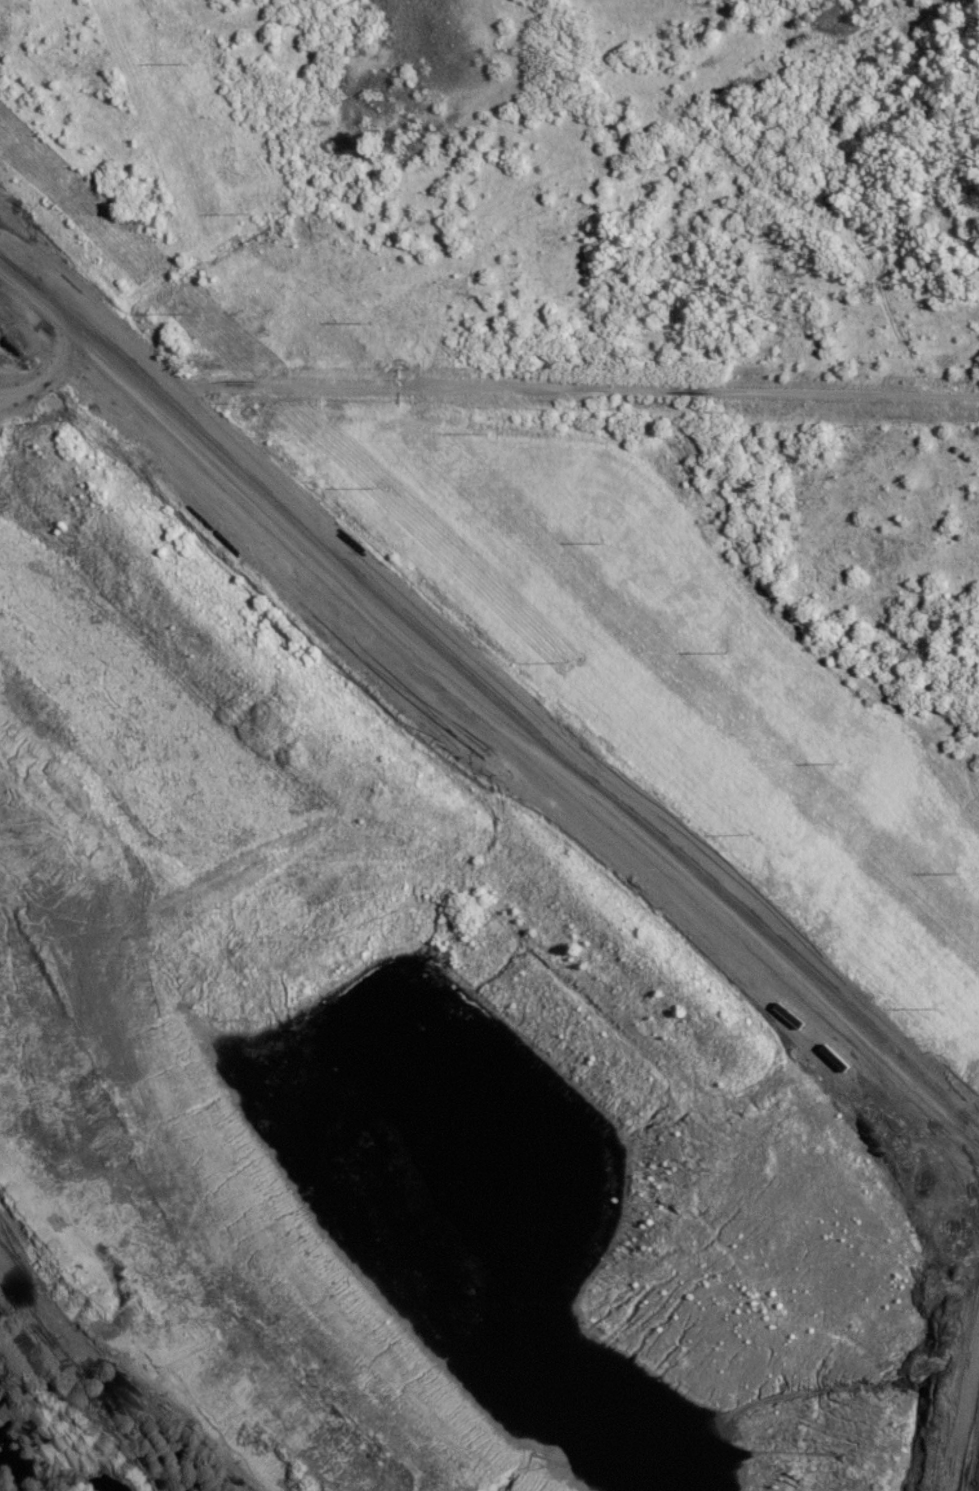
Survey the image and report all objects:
road: (489, 399)
road: (491, 717)
quarry: (859, 1248)
road: (967, 1417)

